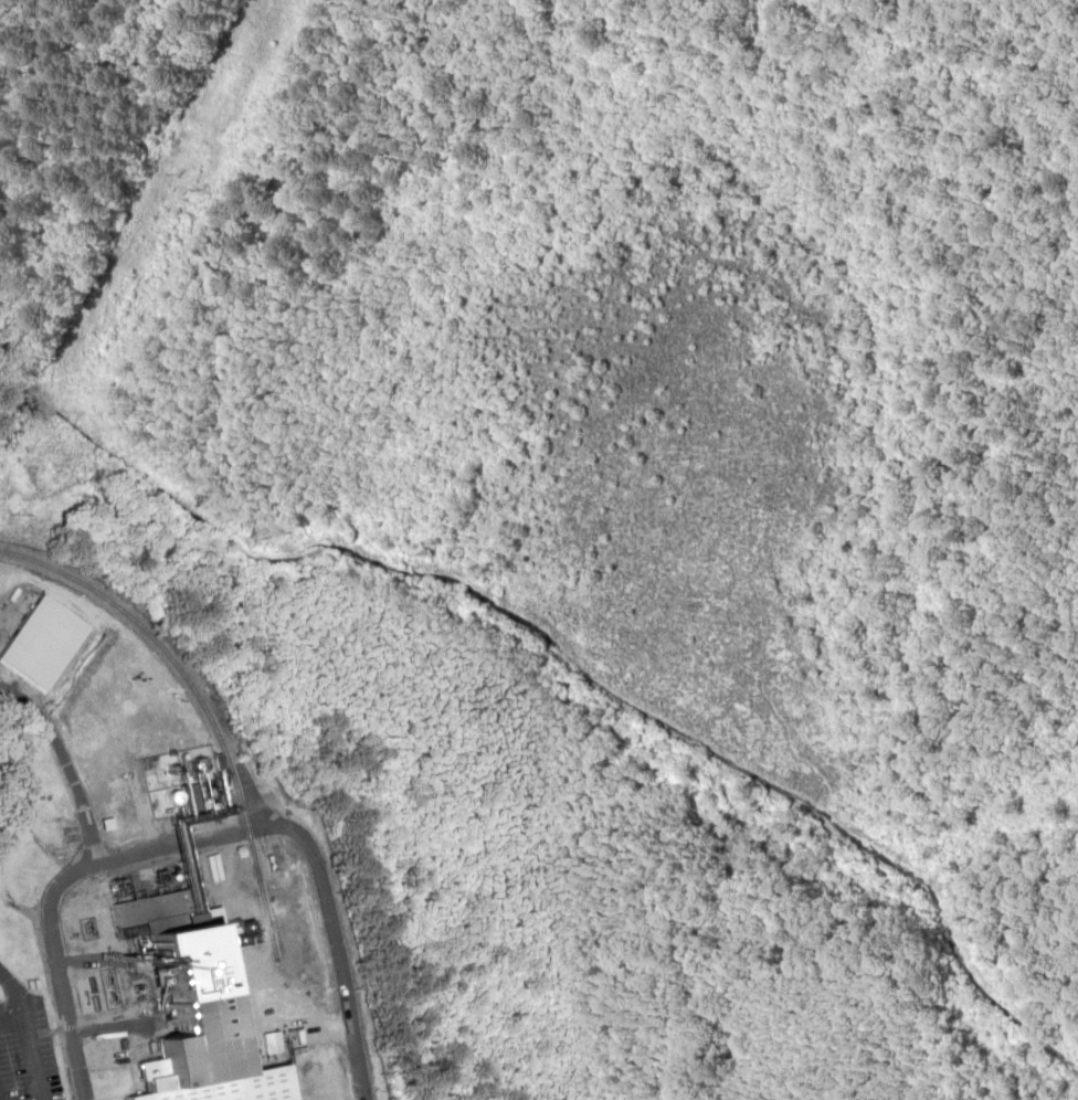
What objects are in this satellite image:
building: (45, 641)
building: (190, 803)
building: (171, 920)
building: (216, 1051)

